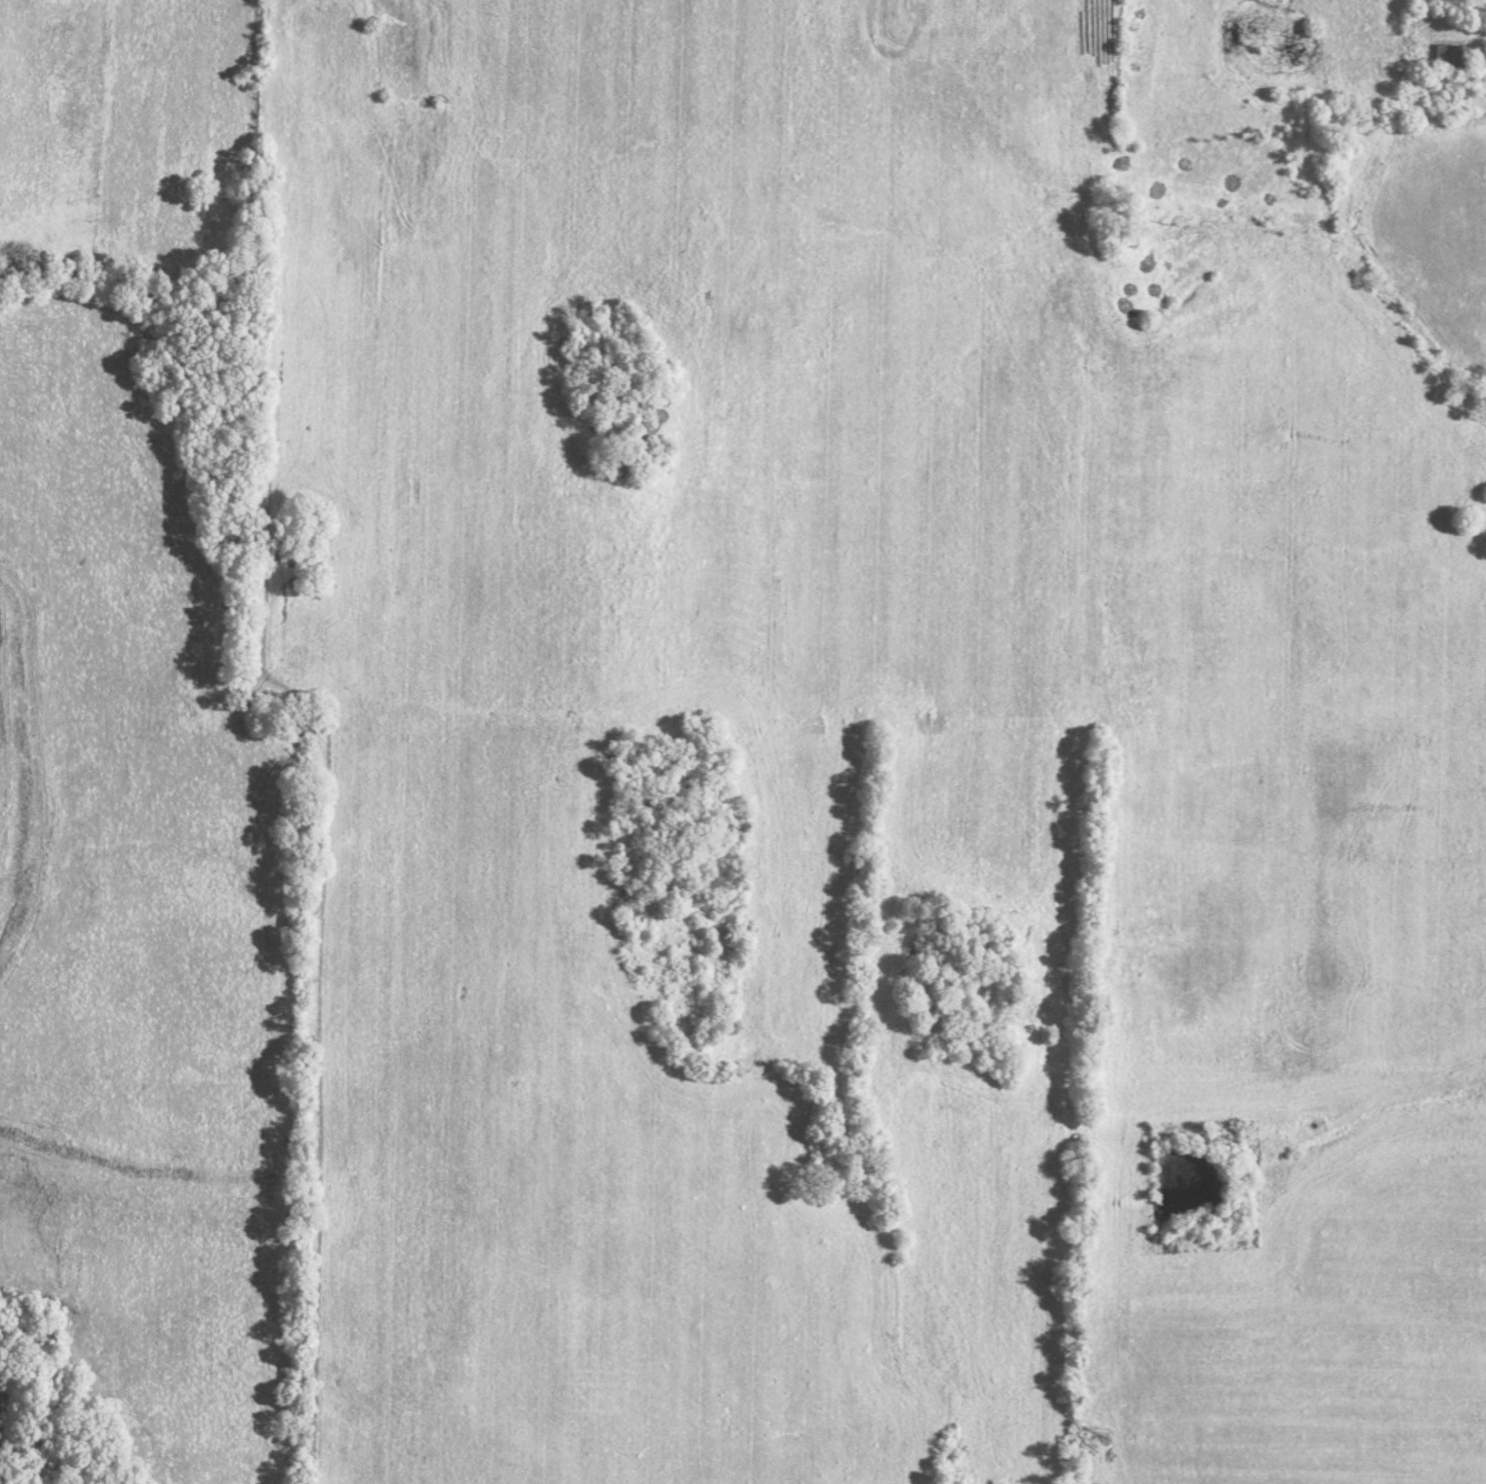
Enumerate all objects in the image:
building: (1450, 56)

